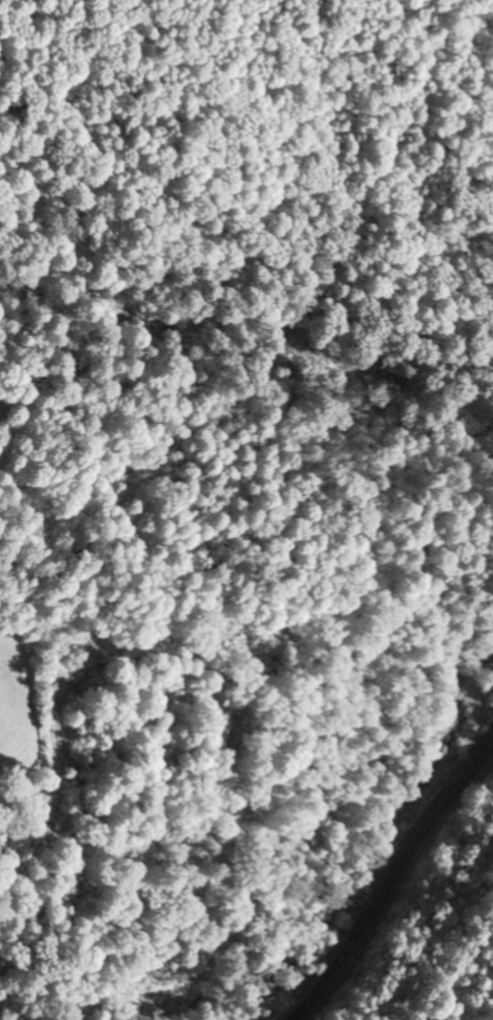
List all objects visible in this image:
road: (388, 880)

